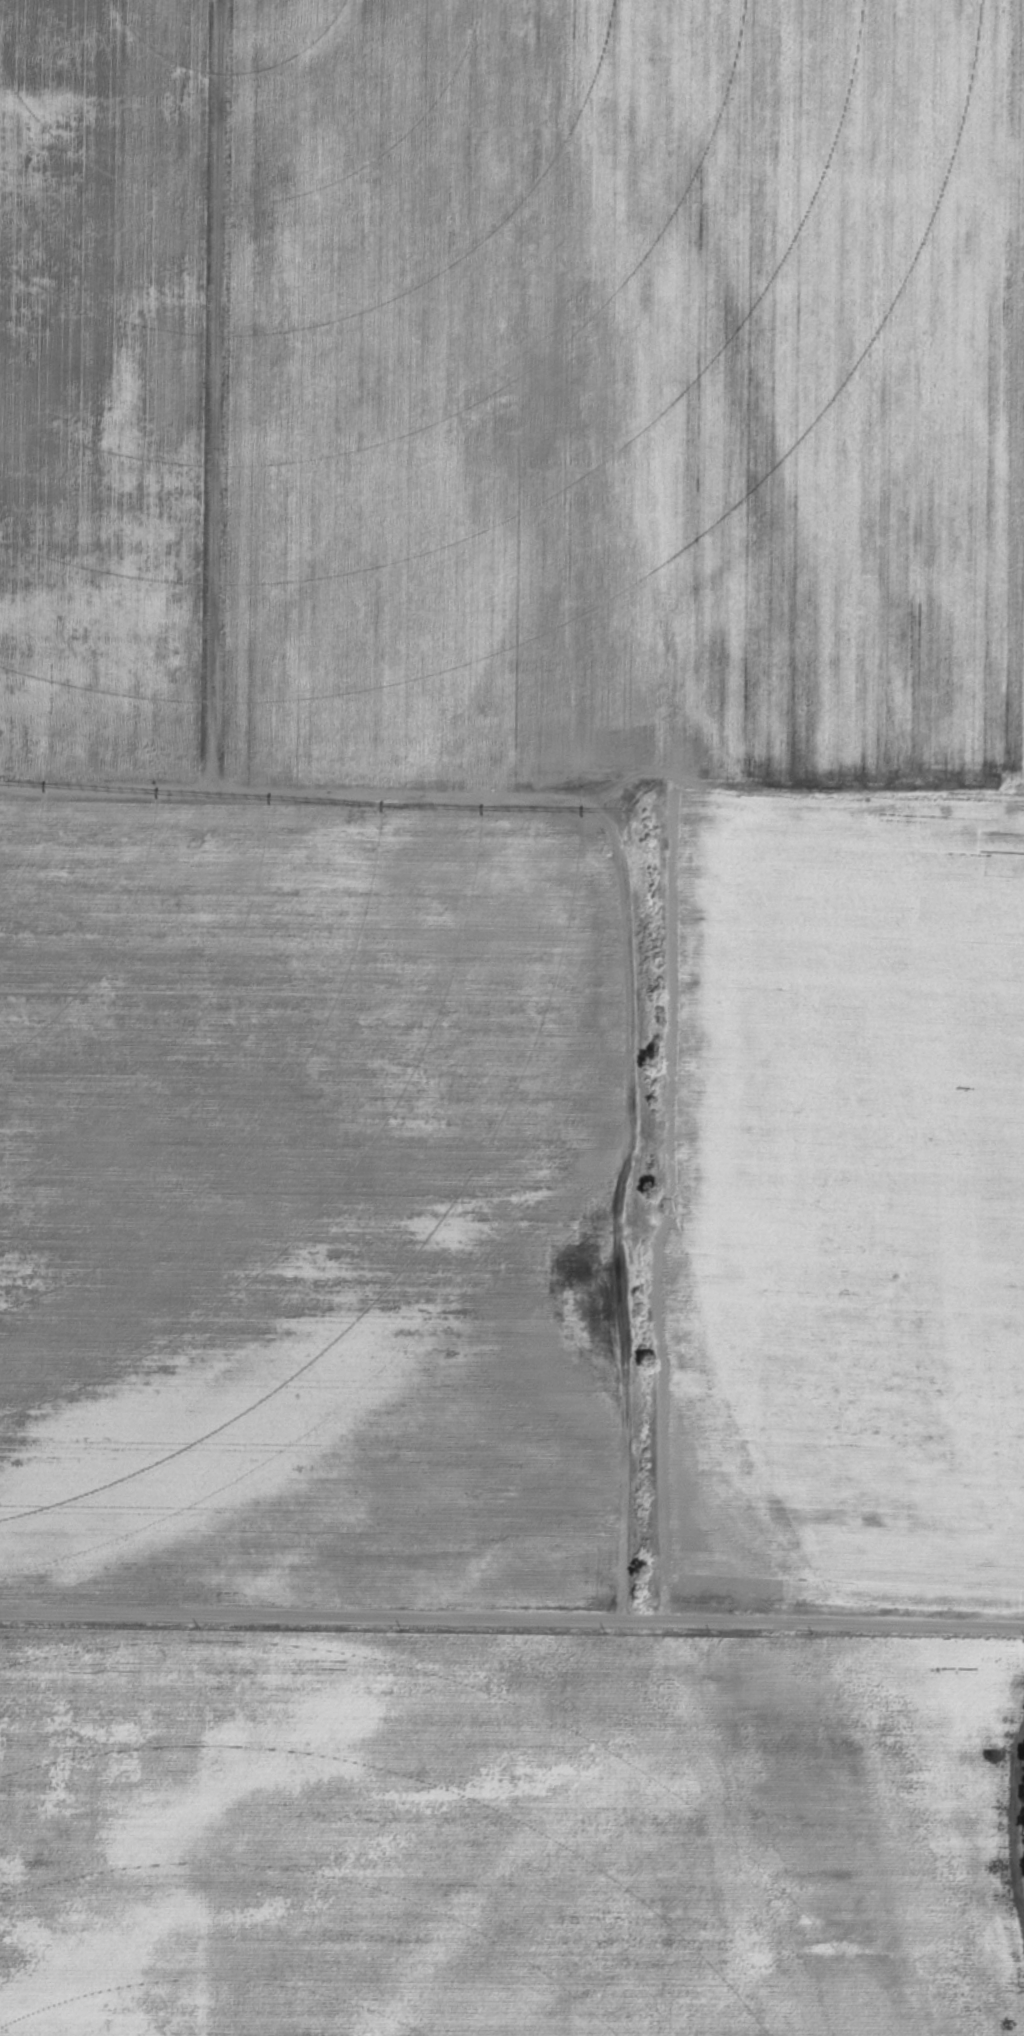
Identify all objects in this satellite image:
road: (717, 1433)
road: (512, 1616)
building: (706, 1658)

